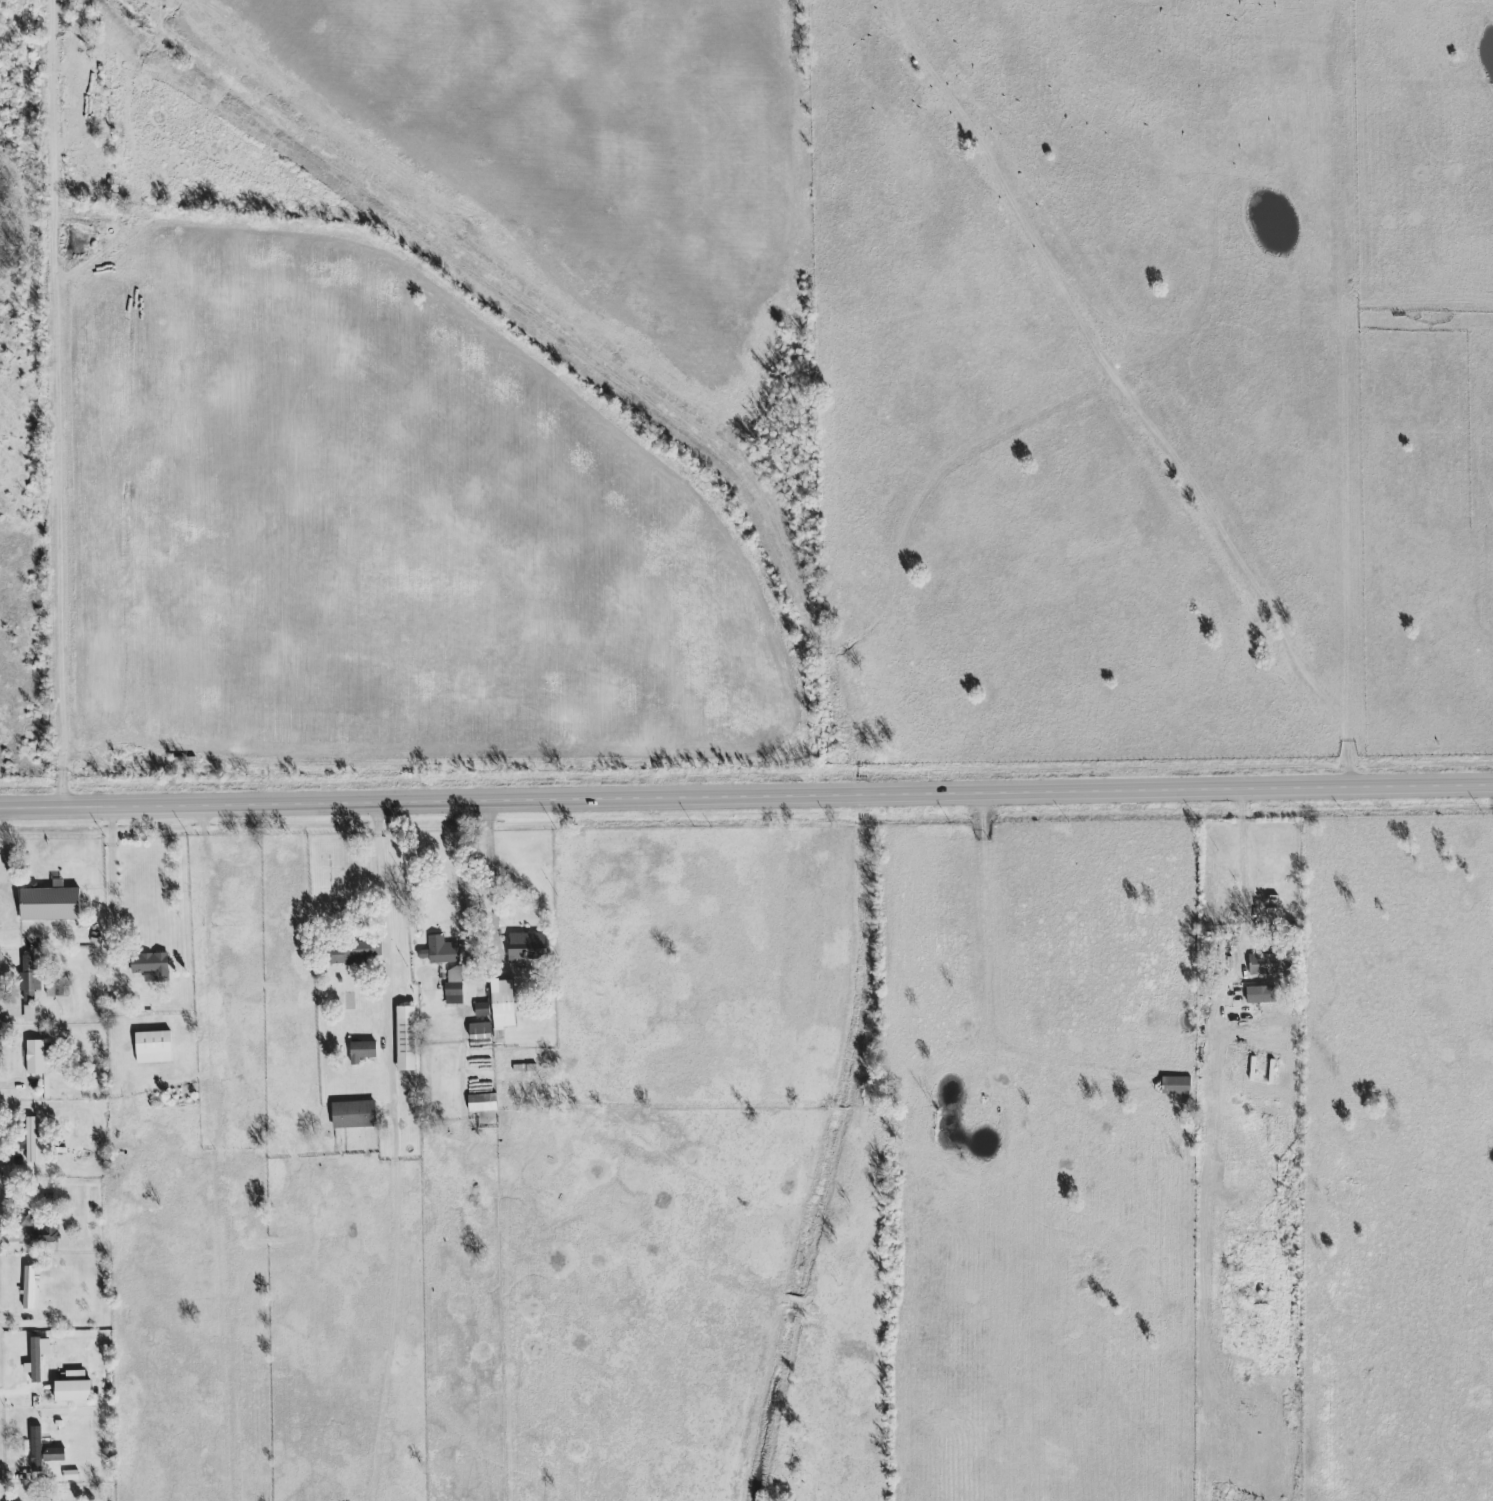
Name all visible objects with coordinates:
road: (66, 403)
road: (746, 798)
road: (1249, 862)
road: (458, 874)
road: (494, 883)
building: (50, 904)
building: (527, 947)
building: (356, 950)
building: (441, 950)
building: (1264, 964)
building: (151, 965)
road: (392, 970)
building: (454, 974)
building: (29, 977)
building: (56, 991)
building: (454, 993)
building: (503, 1007)
building: (482, 1009)
building: (29, 1011)
building: (480, 1031)
building: (406, 1038)
building: (153, 1047)
building: (362, 1050)
building: (37, 1056)
building: (1176, 1085)
building: (481, 1102)
building: (354, 1114)
building: (31, 1143)
building: (44, 1233)
building: (28, 1288)
building: (36, 1360)
building: (73, 1388)
building: (42, 1450)

